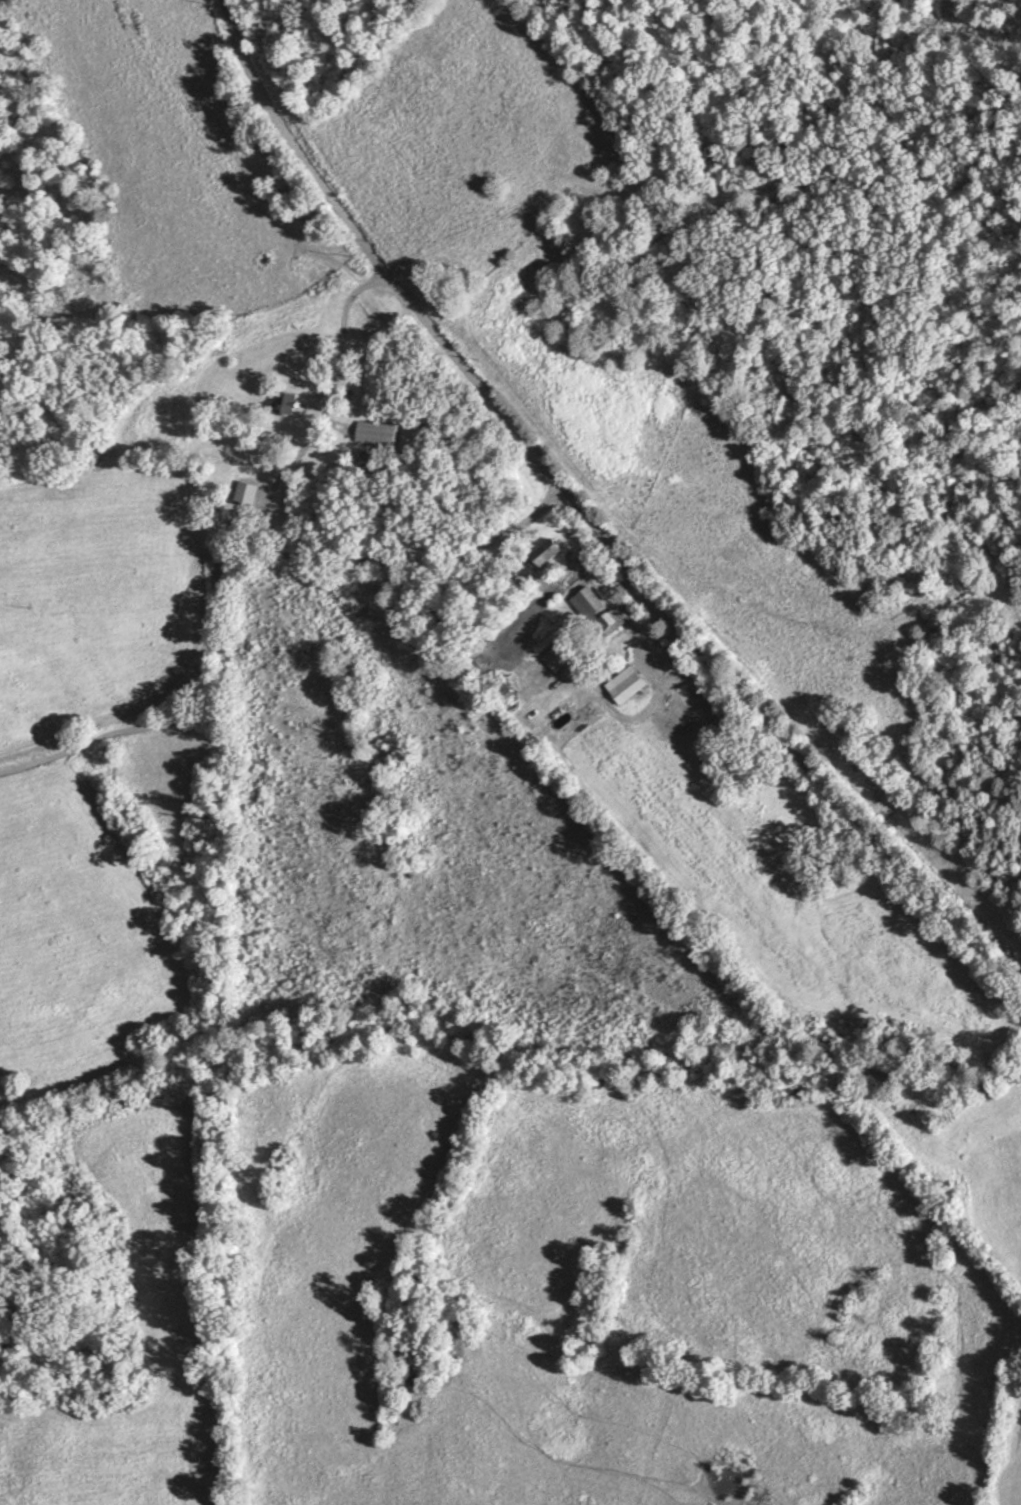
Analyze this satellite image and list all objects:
building: (285, 402)
building: (378, 433)
road: (587, 507)
building: (548, 552)
road: (228, 565)
building: (612, 621)
building: (566, 651)
building: (630, 682)

